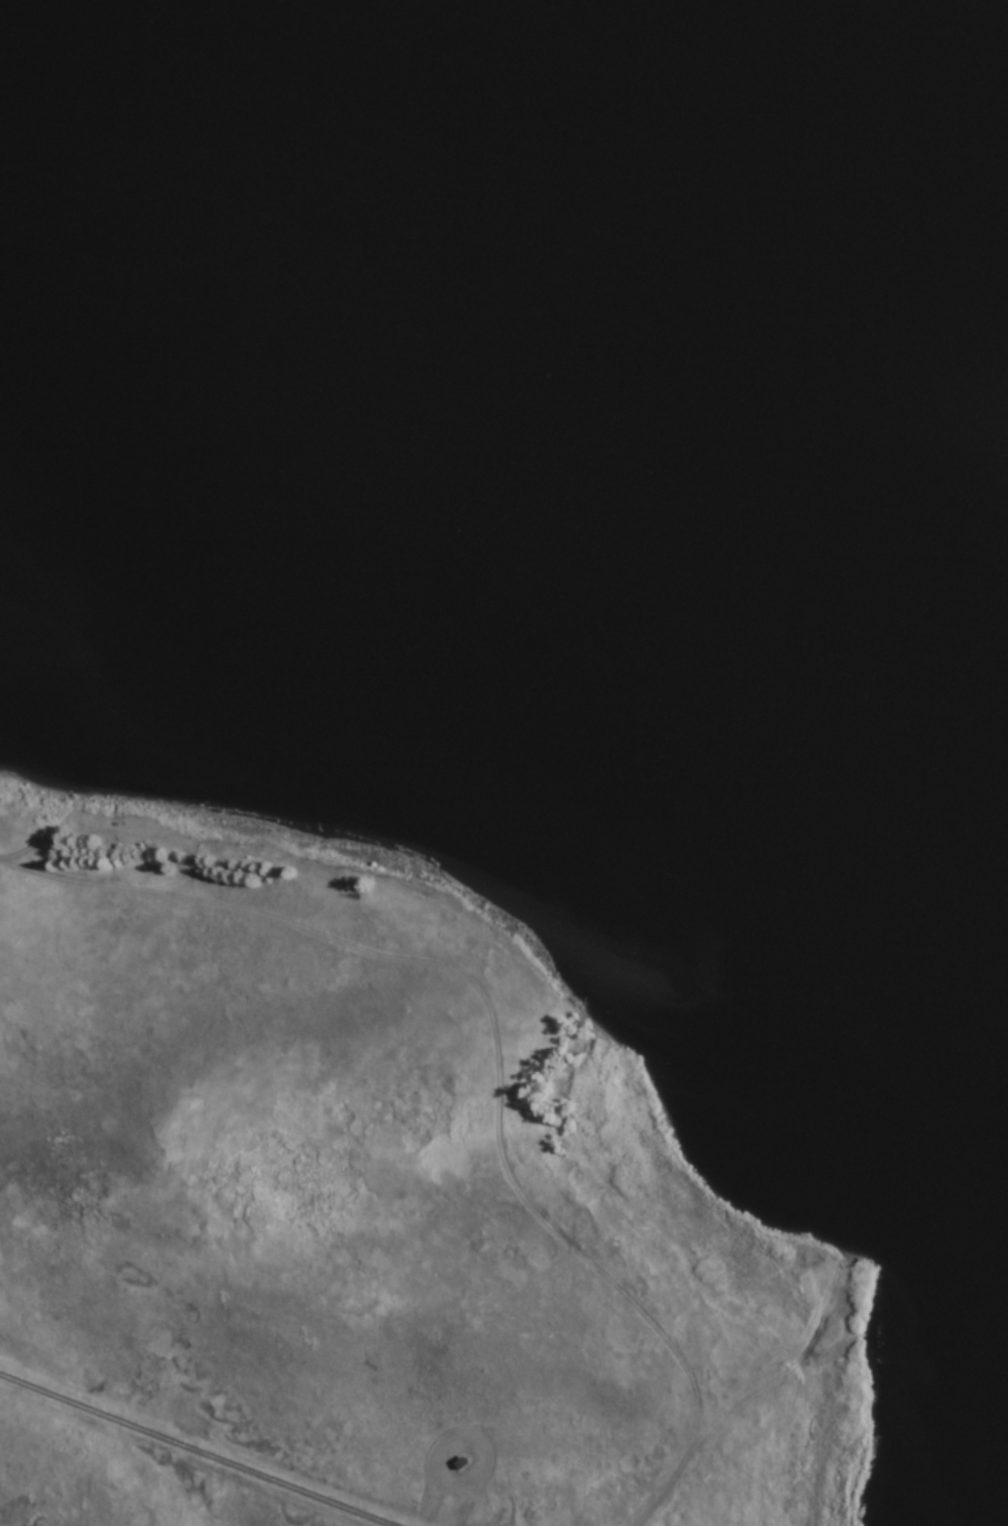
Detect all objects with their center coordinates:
road: (500, 1045)
road: (195, 1450)

